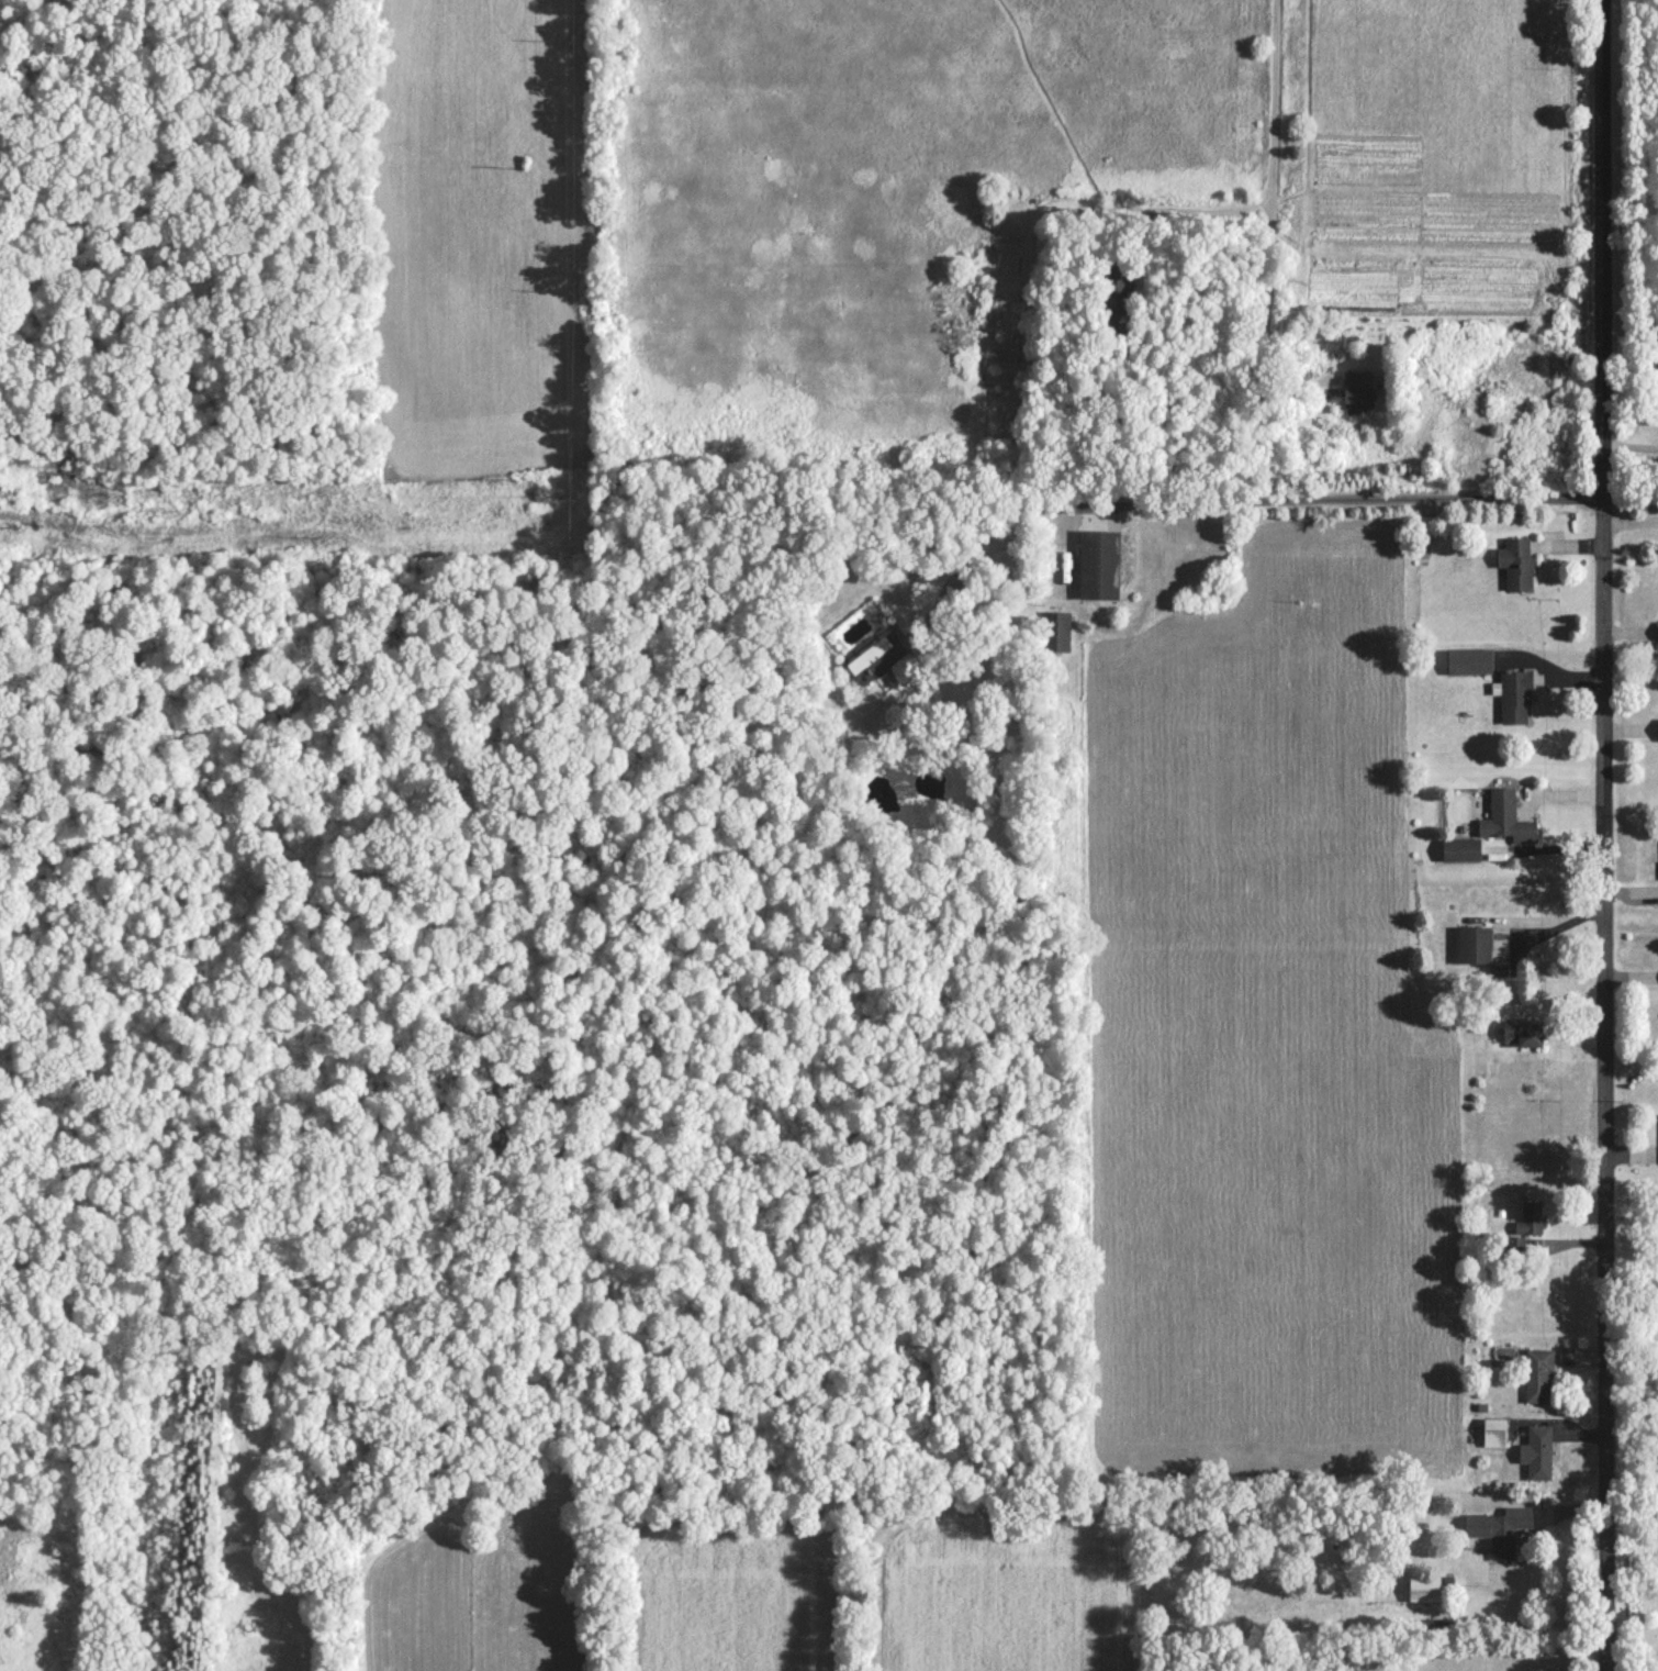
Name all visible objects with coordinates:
power tower: (569, 45)
power tower: (526, 169)
road: (1192, 208)
road: (1269, 218)
power tower: (570, 294)
building: (1357, 391)
power tower: (526, 486)
road: (1232, 495)
power tower: (204, 497)
road: (1628, 514)
power tower: (321, 530)
power tower: (570, 537)
power tower: (5, 539)
building: (1515, 562)
building: (1097, 564)
building: (1055, 631)
building: (1657, 634)
building: (876, 657)
building: (1468, 660)
building: (1513, 695)
building: (1657, 738)
building: (1505, 817)
road: (1601, 835)
building: (1460, 849)
building: (1474, 944)
building: (1523, 1032)
building: (1530, 1217)
building: (1537, 1374)
building: (1493, 1432)
building: (1536, 1451)
building: (1499, 1528)
building: (1423, 1589)

